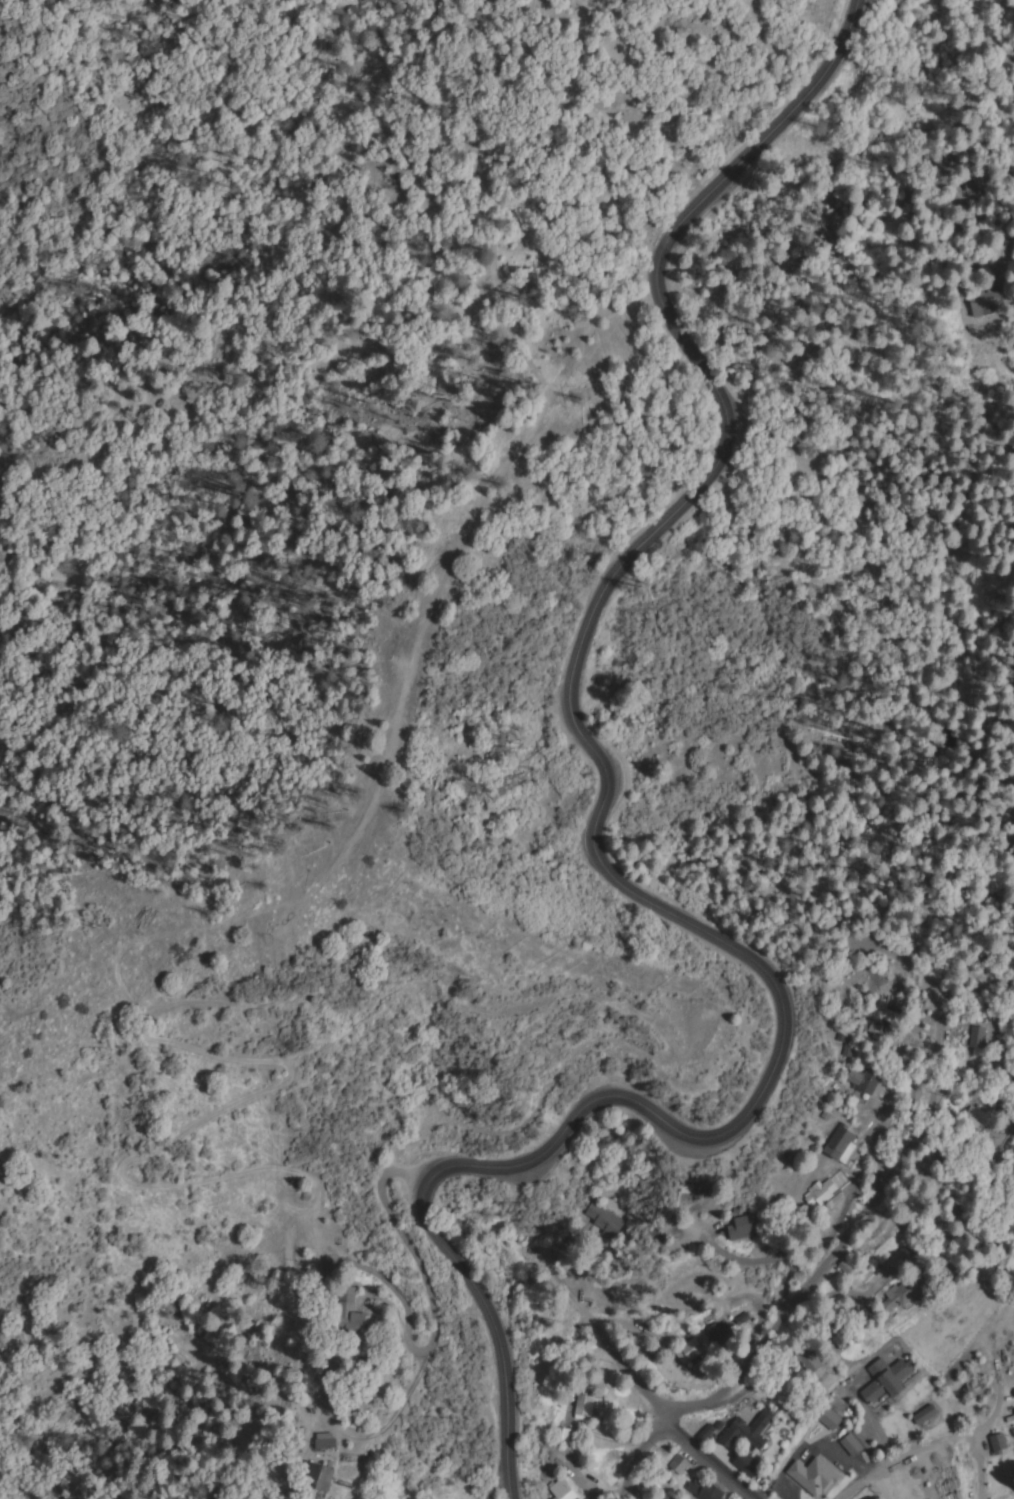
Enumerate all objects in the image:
road: (814, 167)
building: (985, 304)
road: (1005, 865)
road: (616, 878)
building: (978, 1039)
building: (857, 1078)
building: (841, 1145)
building: (821, 1192)
building: (601, 1219)
building: (745, 1227)
building: (1013, 1254)
road: (832, 1258)
building: (899, 1261)
building: (898, 1295)
road: (433, 1306)
building: (352, 1309)
building: (742, 1318)
building: (716, 1331)
building: (689, 1351)
building: (811, 1363)
building: (887, 1381)
building: (587, 1407)
building: (923, 1415)
building: (747, 1429)
building: (561, 1436)
building: (325, 1441)
road: (935, 1441)
building: (997, 1441)
building: (848, 1444)
road: (690, 1445)
building: (677, 1462)
road: (975, 1464)
building: (321, 1475)
building: (811, 1475)
building: (562, 1488)
building: (703, 1488)

